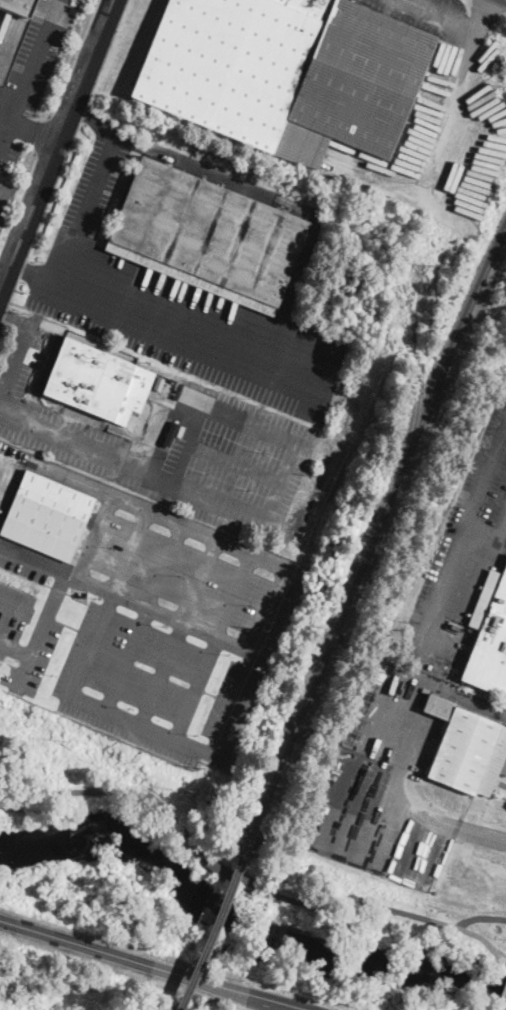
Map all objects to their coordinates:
road: (492, 5)
building: (15, 6)
parking lot: (423, 11)
road: (442, 17)
road: (72, 58)
road: (30, 73)
building: (287, 74)
parking lot: (32, 77)
road: (6, 116)
road: (453, 127)
road: (33, 132)
road: (42, 134)
road: (56, 146)
road: (190, 163)
road: (28, 169)
parking lot: (6, 203)
road: (87, 208)
building: (164, 218)
building: (249, 252)
road: (35, 274)
road: (2, 281)
parking lot: (172, 303)
railway: (411, 313)
road: (14, 318)
road: (192, 336)
road: (14, 360)
building: (97, 381)
building: (158, 382)
road: (239, 416)
road: (165, 433)
road: (189, 442)
parking lot: (173, 444)
road: (234, 463)
parking lot: (9, 473)
road: (172, 482)
road: (147, 506)
building: (46, 516)
railway: (379, 524)
road: (501, 529)
road: (503, 533)
road: (480, 534)
road: (462, 536)
road: (500, 542)
parking lot: (462, 551)
road: (129, 597)
road: (108, 599)
road: (11, 605)
road: (144, 615)
parking lot: (149, 628)
road: (179, 629)
road: (42, 630)
road: (213, 643)
building: (490, 647)
road: (15, 650)
road: (255, 660)
road: (454, 693)
road: (398, 721)
road: (143, 723)
building: (466, 748)
park: (104, 799)
road: (412, 809)
road: (244, 880)
park: (97, 885)
railway: (215, 915)
road: (480, 917)
park: (386, 924)
road: (147, 965)
park: (378, 981)

